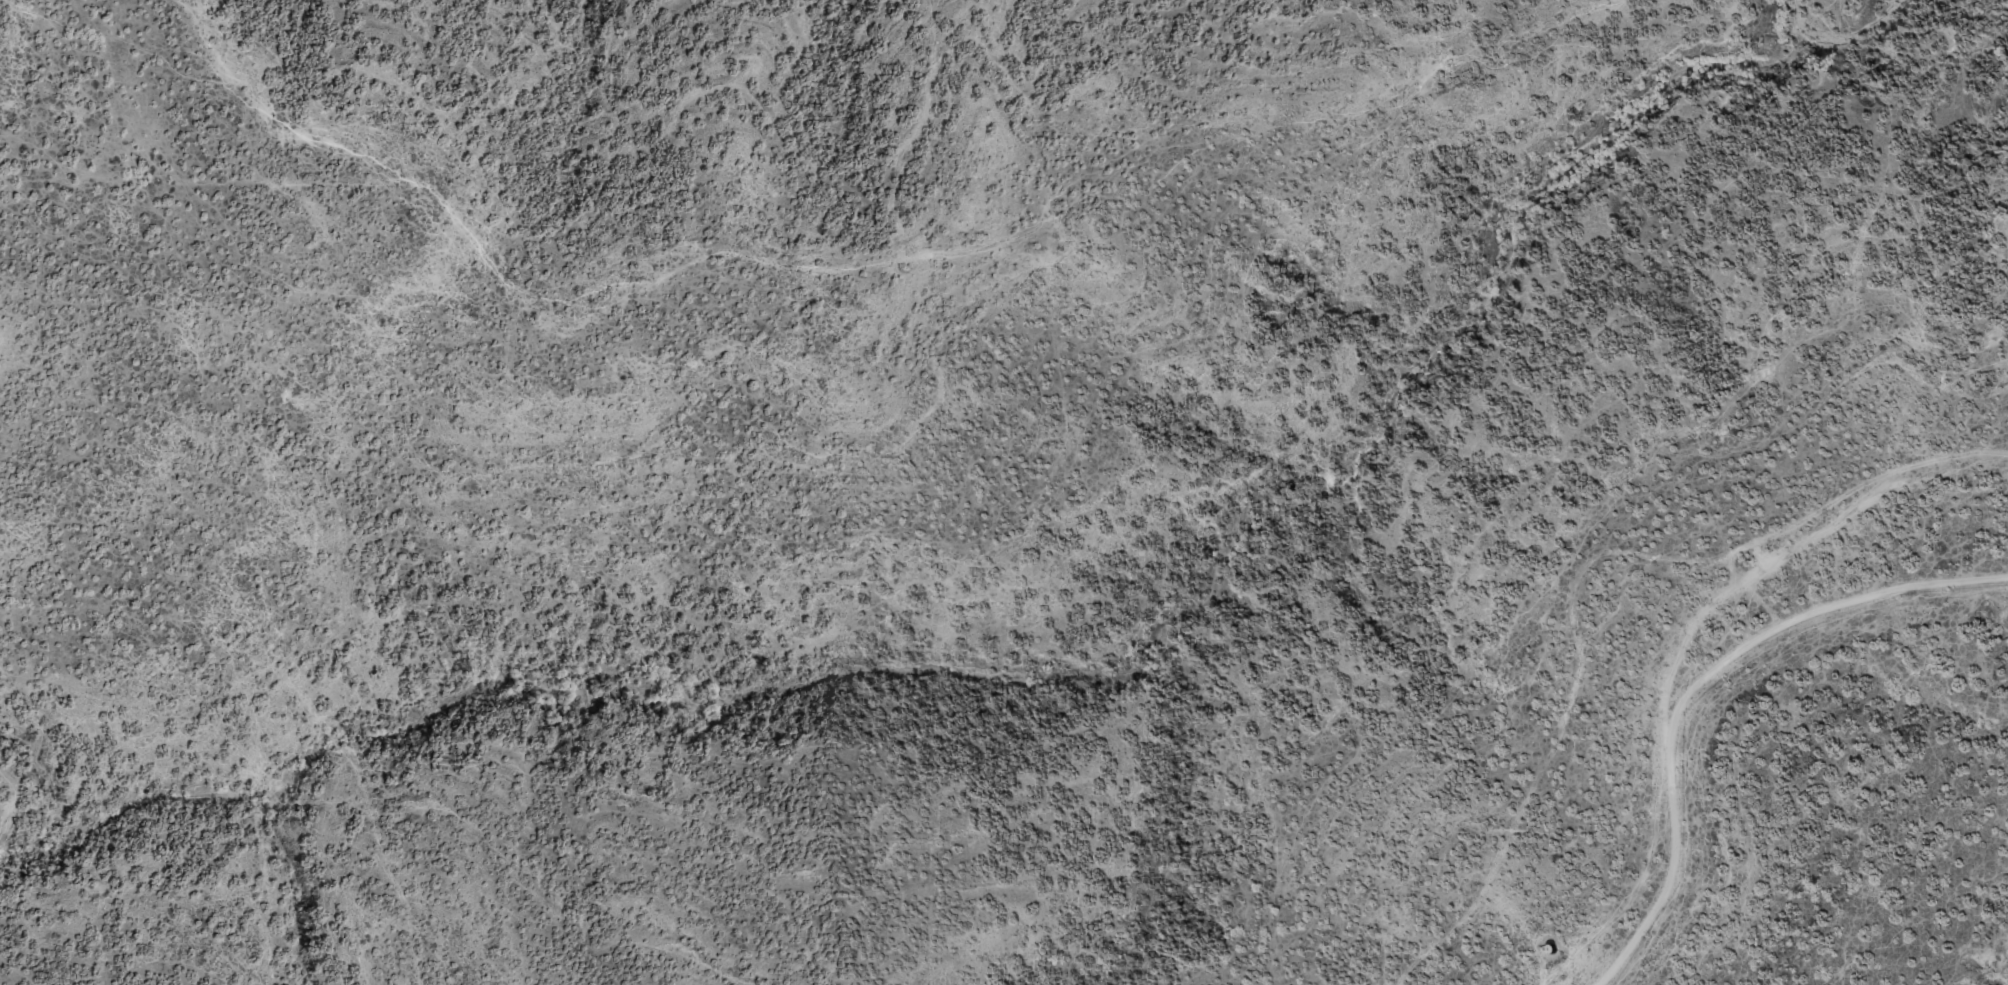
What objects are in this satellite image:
road: (1704, 698)

